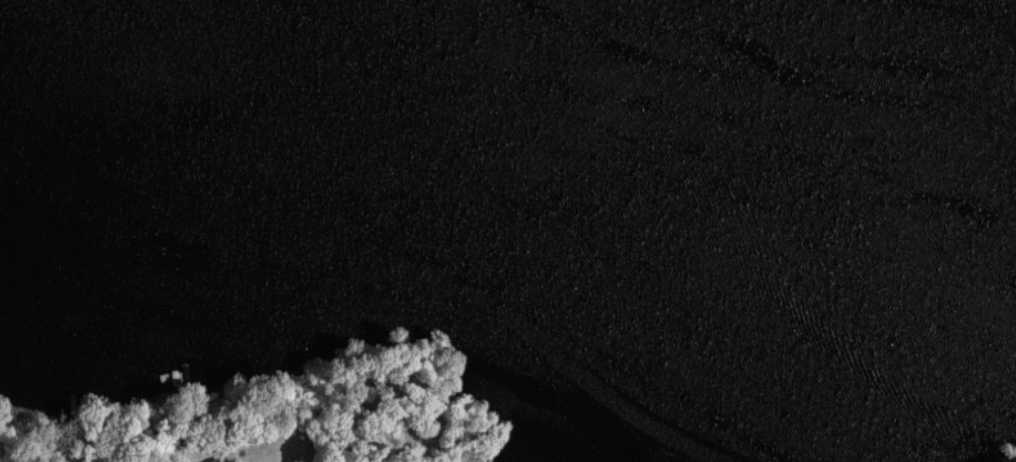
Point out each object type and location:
building: (210, 460)

